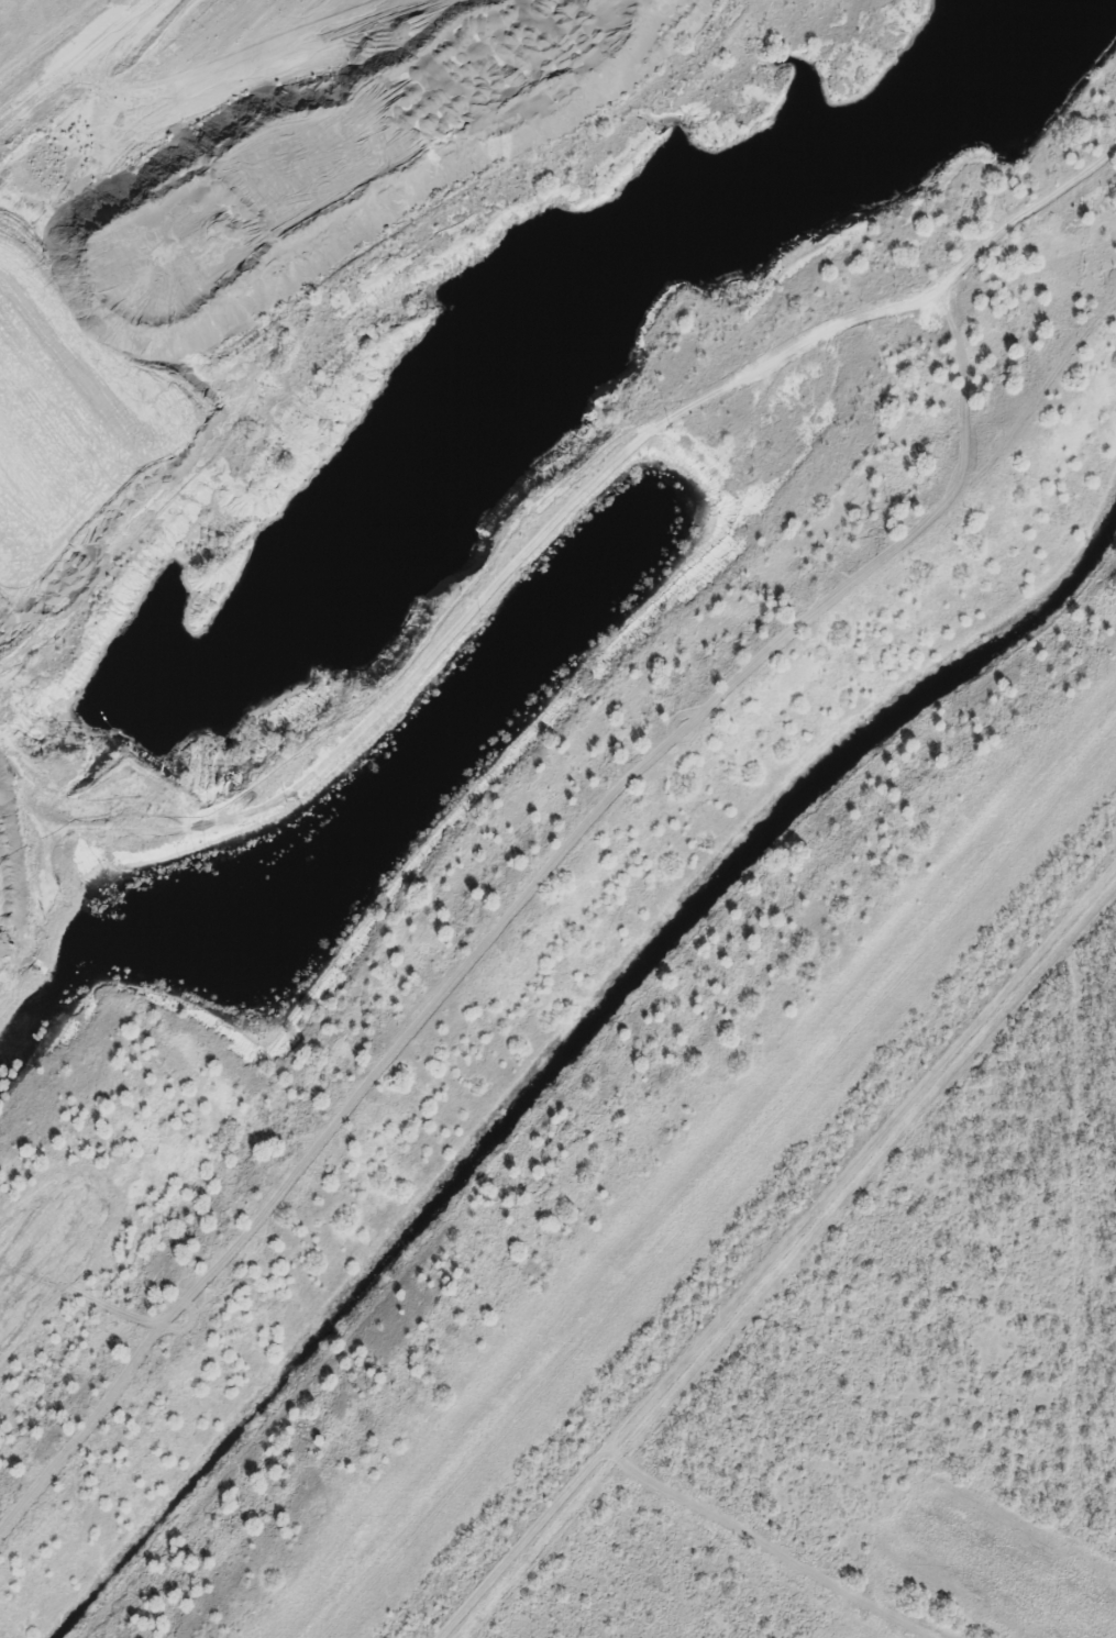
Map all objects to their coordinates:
quarry: (431, 460)
power tower: (795, 1198)
road: (803, 1534)

